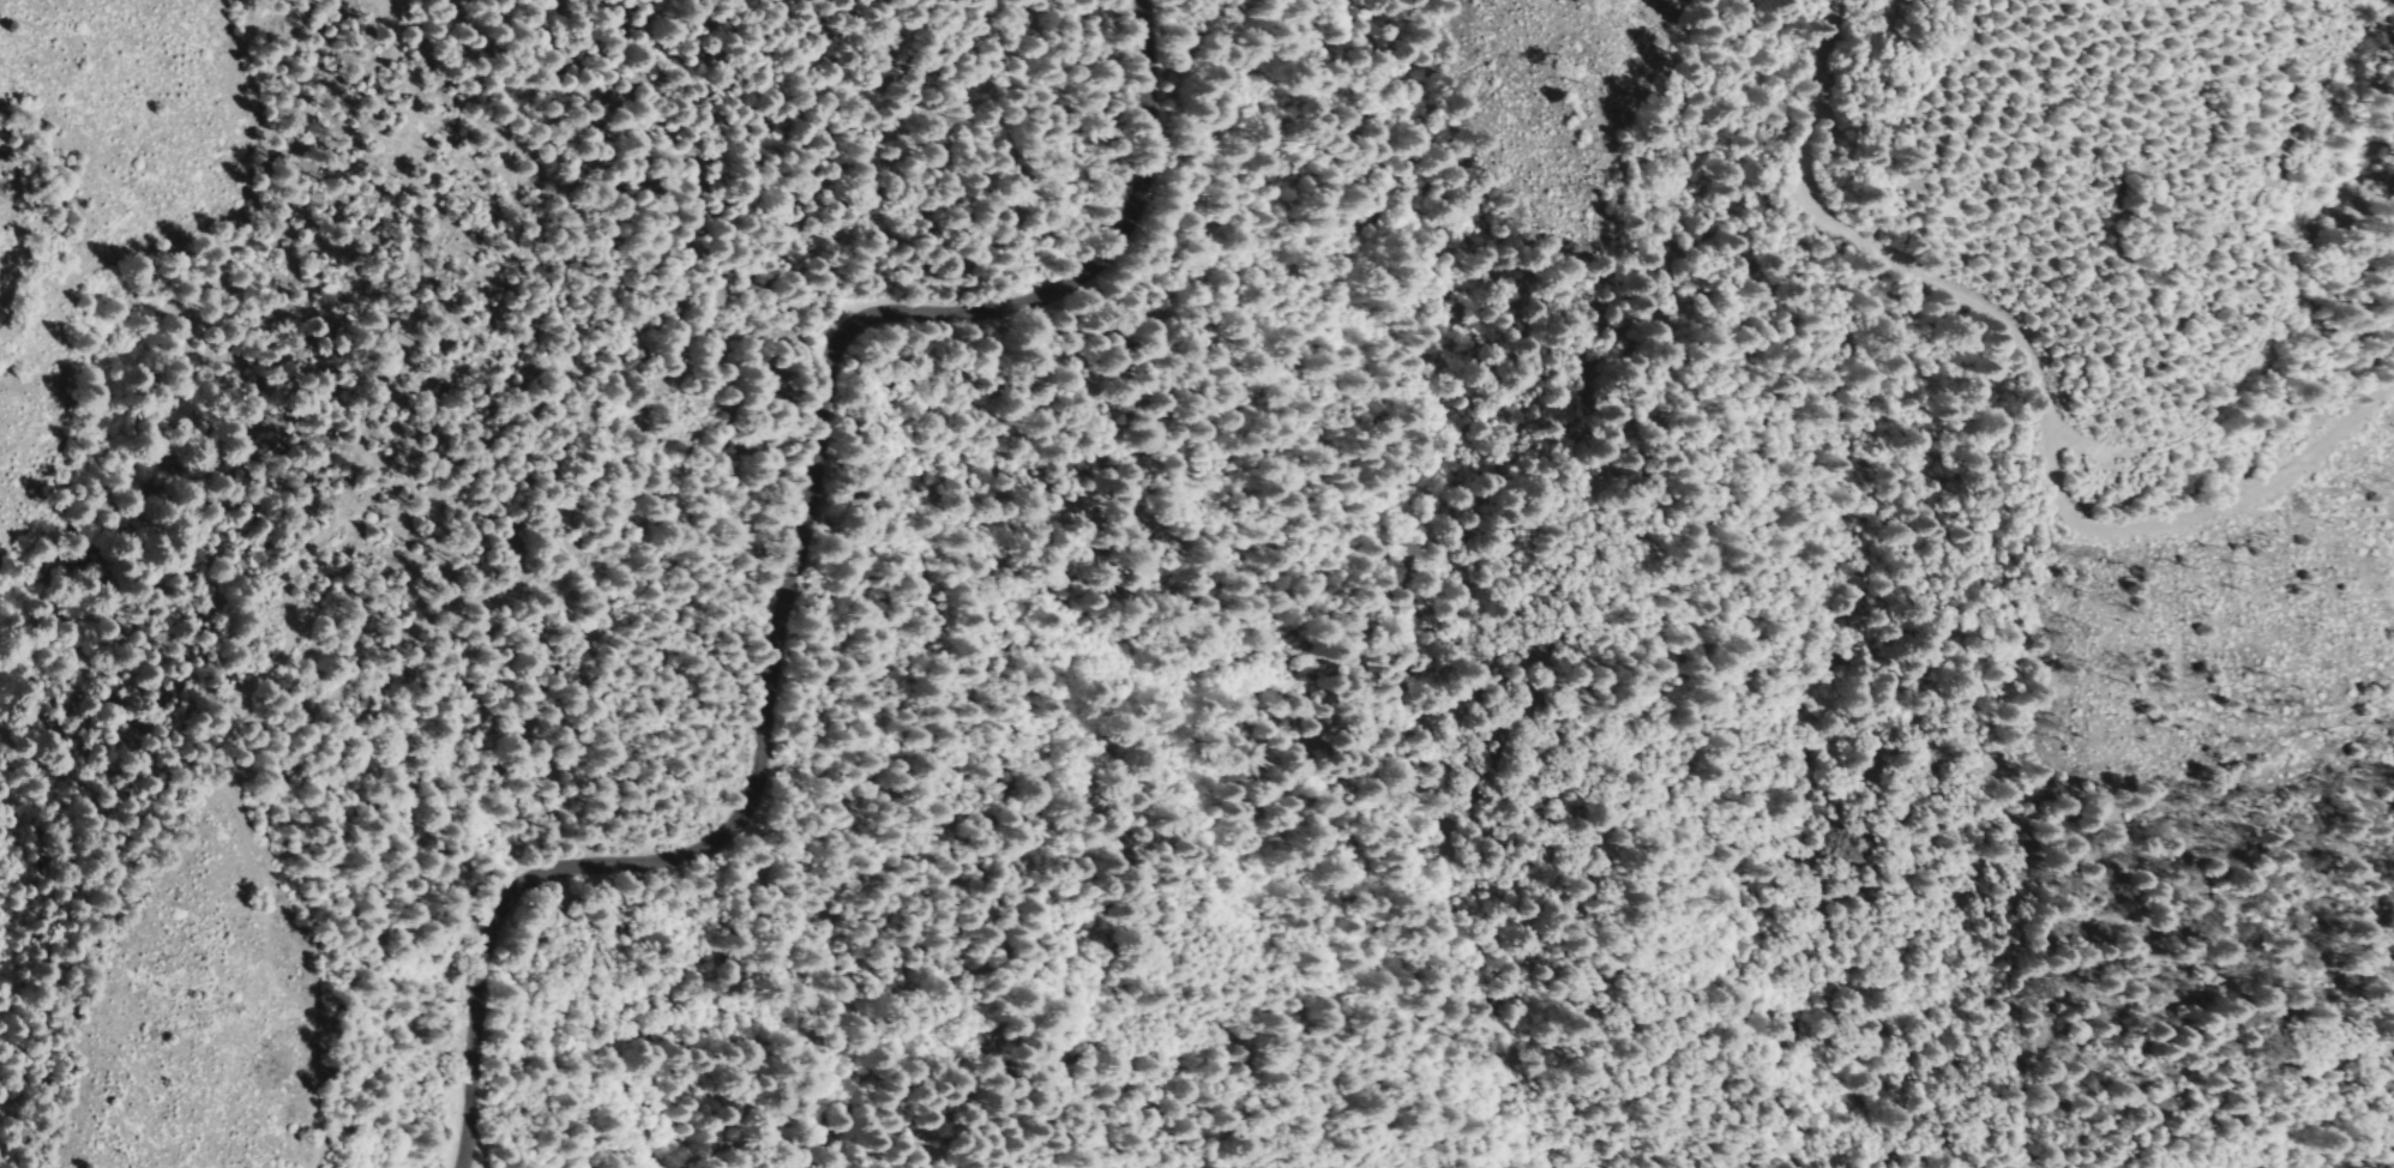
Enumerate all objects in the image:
road: (780, 566)

